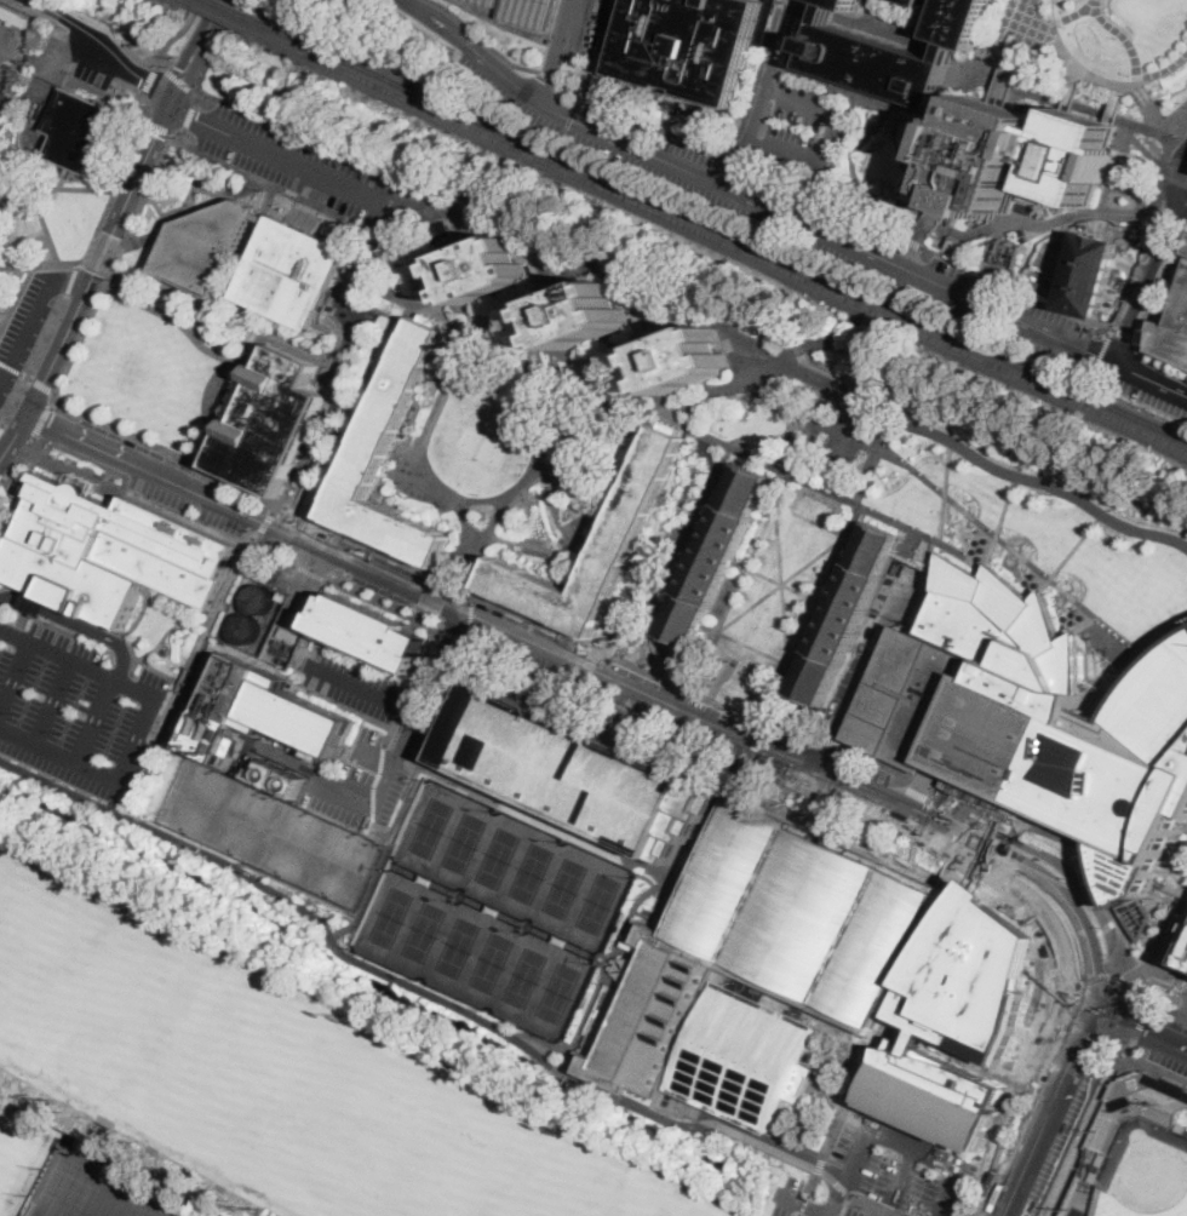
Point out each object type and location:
building: (487, 2)
building: (912, 2)
road: (619, 4)
road: (836, 8)
railway: (237, 11)
building: (526, 12)
parking lot: (896, 12)
road: (1077, 12)
road: (39, 13)
road: (867, 13)
railway: (224, 15)
building: (13, 16)
road: (827, 19)
road: (1027, 24)
road: (878, 30)
road: (828, 33)
road: (176, 34)
parking lot: (595, 35)
road: (1003, 35)
road: (88, 36)
road: (1126, 39)
road: (478, 40)
building: (693, 45)
road: (70, 46)
road: (999, 46)
road: (606, 48)
road: (193, 50)
road: (214, 51)
road: (555, 52)
building: (895, 52)
road: (64, 55)
parking lot: (63, 68)
road: (1164, 69)
road: (70, 71)
road: (1089, 75)
road: (546, 76)
road: (1079, 76)
road: (1008, 78)
road: (179, 81)
road: (758, 81)
road: (150, 82)
road: (640, 85)
road: (1008, 90)
road: (859, 91)
road: (1122, 91)
road: (103, 93)
road: (764, 96)
road: (1073, 96)
road: (102, 99)
parking lot: (4, 101)
traffic signals: (171, 101)
road: (19, 102)
road: (1116, 109)
road: (188, 120)
road: (942, 124)
road: (1158, 124)
road: (142, 127)
road: (159, 128)
building: (78, 130)
parking lot: (801, 130)
road: (171, 133)
road: (300, 134)
parking lot: (648, 134)
road: (827, 138)
road: (838, 145)
road: (262, 150)
road: (898, 154)
park: (881, 155)
building: (994, 156)
building: (1078, 157)
parking lot: (296, 161)
road: (728, 161)
road: (850, 161)
road: (1174, 164)
road: (141, 167)
road: (1177, 172)
road: (62, 177)
building: (8, 179)
parking lot: (671, 180)
road: (254, 184)
road: (277, 185)
road: (74, 189)
road: (148, 189)
road: (398, 195)
road: (263, 196)
road: (36, 197)
road: (749, 197)
road: (1028, 199)
road: (225, 200)
road: (952, 203)
road: (156, 206)
road: (390, 207)
road: (254, 214)
parking lot: (825, 214)
building: (262, 217)
road: (933, 217)
road: (1002, 217)
road: (172, 218)
road: (1034, 219)
road: (1068, 219)
road: (385, 220)
road: (1170, 220)
road: (1153, 223)
road: (97, 226)
road: (288, 228)
road: (405, 228)
building: (440, 230)
railway: (724, 230)
road: (942, 230)
road: (963, 236)
road: (940, 237)
railway: (722, 241)
road: (912, 242)
road: (471, 245)
building: (205, 246)
road: (975, 246)
road: (451, 247)
road: (911, 247)
road: (1060, 247)
road: (102, 254)
road: (103, 256)
road: (369, 257)
road: (38, 263)
road: (348, 265)
road: (412, 266)
road: (115, 268)
building: (293, 273)
building: (482, 273)
building: (1090, 275)
road: (1152, 276)
road: (71, 279)
road: (226, 279)
building: (119, 280)
building: (1032, 283)
road: (442, 287)
road: (573, 287)
road: (635, 288)
building: (1043, 288)
road: (1015, 289)
road: (1160, 292)
road: (529, 294)
road: (497, 296)
road: (916, 296)
road: (397, 297)
road: (17, 298)
parking lot: (1013, 299)
road: (491, 300)
road: (438, 308)
road: (432, 315)
building: (586, 315)
road: (34, 319)
parking lot: (25, 326)
road: (184, 327)
road: (676, 332)
building: (1172, 334)
road: (1124, 337)
road: (81, 340)
road: (633, 340)
road: (458, 346)
road: (844, 348)
road: (300, 351)
road: (786, 354)
road: (385, 355)
road: (564, 355)
road: (809, 355)
road: (524, 356)
parking lot: (1056, 356)
road: (888, 357)
road: (35, 359)
building: (687, 361)
road: (1159, 363)
road: (11, 367)
road: (48, 368)
road: (233, 369)
building: (256, 372)
road: (566, 372)
road: (839, 372)
road: (29, 377)
road: (878, 378)
road: (1151, 379)
road: (734, 384)
road: (46, 385)
road: (867, 385)
road: (544, 389)
road: (696, 392)
road: (868, 392)
road: (55, 398)
road: (235, 398)
road: (882, 407)
road: (809, 417)
road: (42, 420)
building: (275, 423)
road: (327, 423)
road: (233, 424)
road: (672, 424)
road: (50, 425)
road: (1, 426)
road: (428, 435)
road: (845, 436)
building: (224, 443)
road: (4, 444)
road: (30, 444)
park: (482, 448)
road: (104, 449)
building: (373, 449)
park: (838, 454)
road: (758, 460)
road: (12, 468)
road: (336, 468)
road: (539, 469)
park: (506, 472)
road: (918, 472)
road: (161, 475)
road: (830, 475)
road: (2, 477)
road: (1043, 482)
road: (774, 487)
road: (440, 489)
road: (945, 489)
road: (478, 499)
road: (763, 499)
road: (218, 501)
road: (964, 509)
road: (274, 510)
road: (561, 512)
road: (258, 520)
road: (810, 520)
road: (1002, 521)
road: (266, 522)
road: (859, 524)
road: (279, 528)
road: (991, 529)
road: (761, 534)
road: (924, 534)
road: (296, 535)
road: (233, 539)
road: (912, 539)
building: (620, 540)
road: (859, 540)
road: (1076, 545)
park: (1040, 546)
road: (327, 550)
road: (931, 550)
building: (108, 551)
road: (1016, 551)
road: (452, 555)
road: (684, 556)
building: (716, 556)
road: (735, 562)
road: (407, 564)
parking lot: (929, 566)
road: (831, 567)
road: (1042, 572)
road: (388, 578)
road: (310, 581)
road: (781, 583)
road: (782, 583)
road: (782, 583)
road: (1040, 585)
road: (1066, 591)
building: (281, 595)
road: (432, 597)
road: (434, 597)
road: (472, 600)
building: (35, 602)
road: (831, 604)
building: (250, 612)
road: (80, 614)
building: (847, 614)
road: (424, 615)
road: (470, 615)
road: (78, 624)
road: (1083, 625)
road: (707, 626)
road: (1112, 629)
building: (287, 633)
building: (368, 633)
road: (451, 633)
road: (469, 635)
road: (166, 636)
road: (1165, 639)
parking lot: (865, 644)
road: (753, 647)
road: (187, 665)
road: (1091, 665)
road: (865, 666)
road: (157, 669)
road: (802, 670)
road: (15, 672)
road: (361, 688)
parking lot: (844, 690)
building: (908, 699)
road: (52, 700)
road: (418, 705)
building: (185, 706)
building: (223, 707)
parking lot: (75, 711)
building: (306, 717)
road: (93, 718)
road: (143, 719)
road: (790, 727)
building: (1057, 728)
road: (734, 733)
parking lot: (365, 735)
road: (832, 741)
road: (756, 747)
road: (375, 755)
road: (724, 758)
road: (891, 763)
road: (738, 764)
building: (575, 772)
road: (717, 773)
parking lot: (883, 774)
building: (279, 776)
road: (902, 776)
road: (784, 781)
road: (732, 790)
road: (357, 791)
road: (917, 792)
building: (712, 815)
road: (715, 815)
road: (969, 818)
road: (1026, 821)
road: (1063, 822)
park: (430, 826)
park: (269, 833)
road: (1010, 833)
road: (843, 839)
park: (464, 841)
road: (1090, 843)
park: (498, 856)
road: (383, 861)
park: (514, 865)
road: (1094, 866)
park: (531, 871)
road: (1179, 877)
road: (1097, 879)
road: (942, 884)
road: (296, 887)
park: (564, 887)
road: (1084, 888)
road: (1105, 899)
park: (598, 901)
road: (1137, 911)
park: (391, 916)
road: (933, 918)
road: (1079, 924)
park: (424, 930)
road: (331, 936)
road: (916, 940)
road: (927, 945)
park: (458, 946)
park: (474, 954)
road: (613, 958)
park: (491, 960)
road: (912, 963)
building: (621, 965)
road: (1152, 965)
building: (799, 967)
road: (1113, 973)
park: (524, 976)
road: (1122, 983)
road: (1093, 985)
road: (420, 988)
park: (558, 991)
road: (1139, 999)
traffic signals: (1100, 1009)
road: (1147, 1010)
road: (1168, 1013)
road: (1139, 1028)
road: (1142, 1032)
road: (1086, 1036)
road: (1120, 1043)
road: (962, 1059)
road: (1071, 1069)
park: (275, 1072)
road: (859, 1077)
building: (1169, 1084)
road: (1040, 1088)
road: (561, 1092)
building: (934, 1095)
building: (1124, 1102)
road: (555, 1108)
building: (1181, 1128)
road: (866, 1129)
road: (1078, 1129)
park: (17, 1151)
parking lot: (1057, 1151)
road: (819, 1165)
building: (1096, 1166)
parking lot: (904, 1168)
park: (1145, 1172)
road: (1023, 1174)
road: (904, 1175)
building: (992, 1176)
building: (919, 1181)
road: (812, 1186)
park: (97, 1189)
building: (987, 1189)
road: (946, 1192)
parking lot: (789, 1195)
road: (798, 1204)
road: (803, 1204)
road: (872, 1206)
parking lot: (854, 1212)
road: (801, 1214)
parking lot: (816, 1215)

